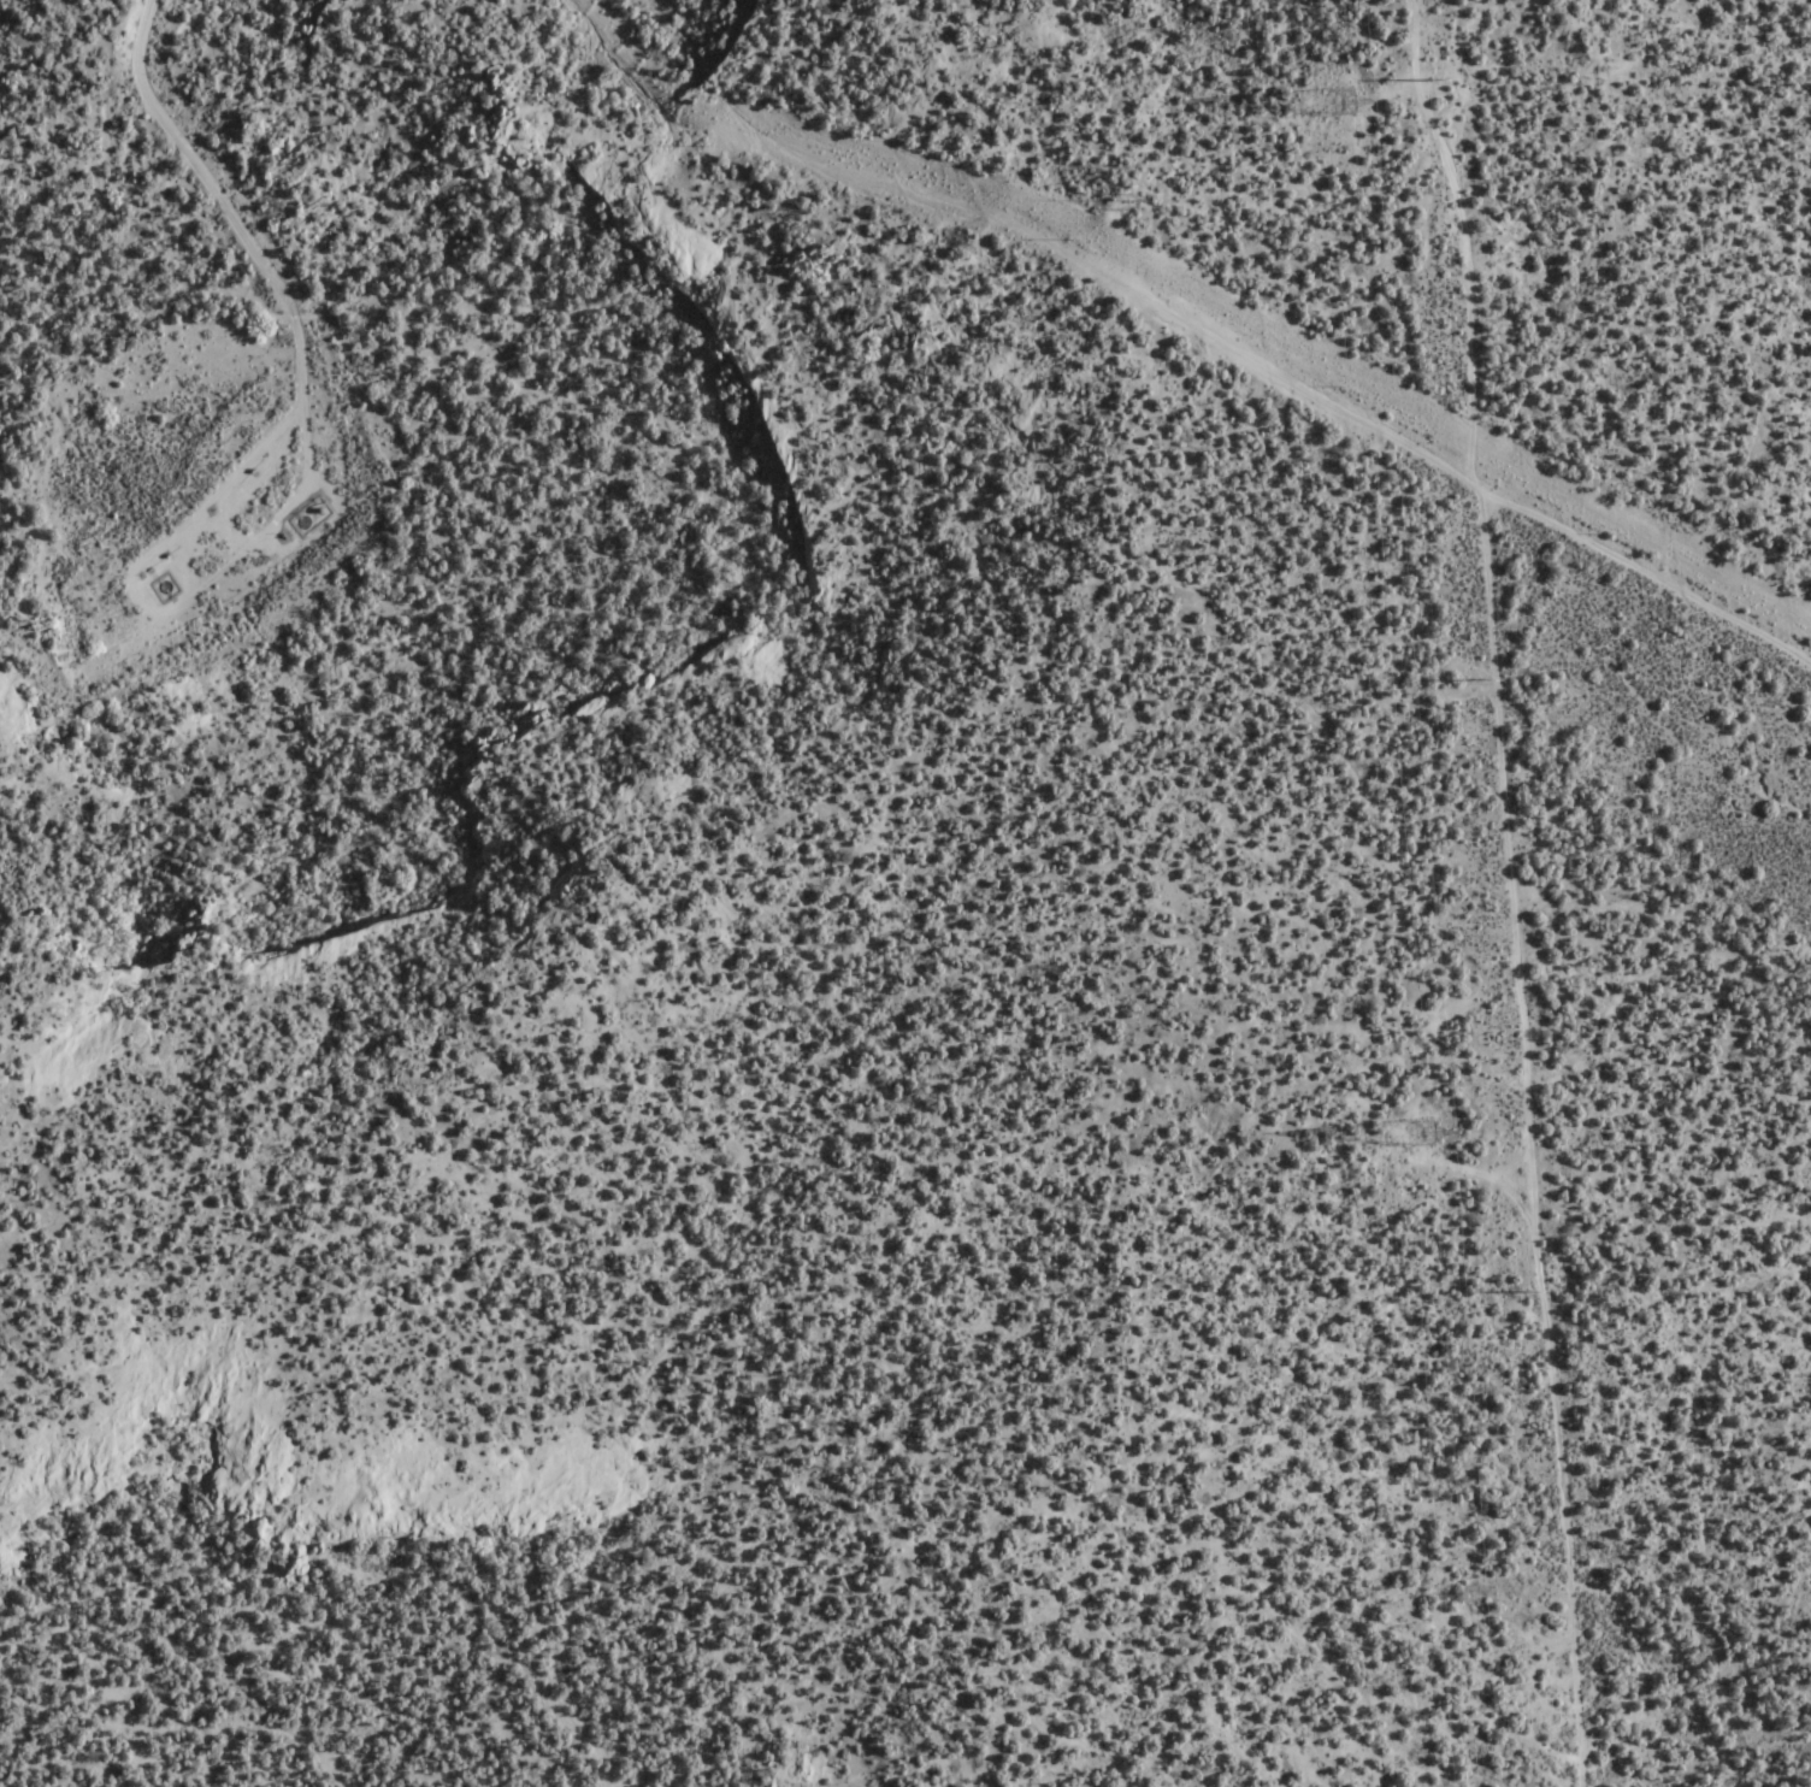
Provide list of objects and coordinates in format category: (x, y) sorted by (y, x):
power tower: (1337, 98)
road: (1193, 313)
power tower: (1422, 1133)

